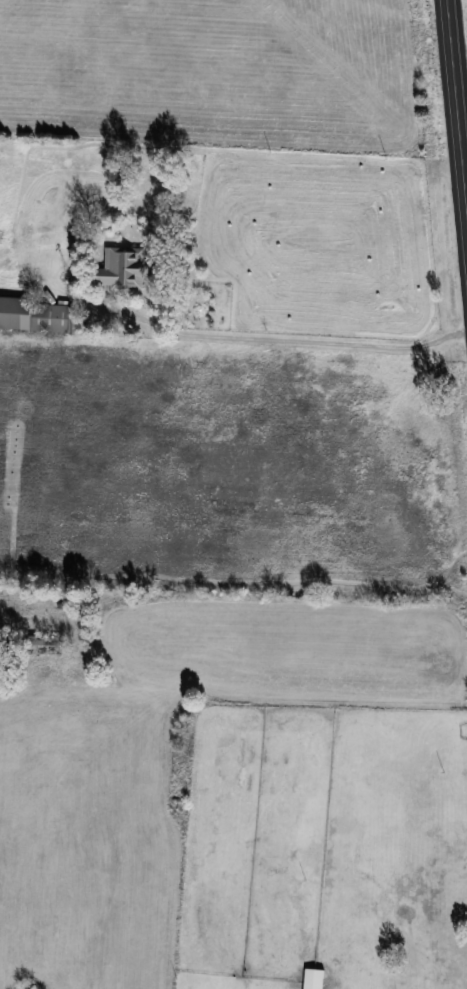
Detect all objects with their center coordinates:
road: (456, 115)
building: (122, 268)
building: (35, 314)
road: (298, 339)
building: (46, 644)
road: (310, 694)
building: (314, 978)

